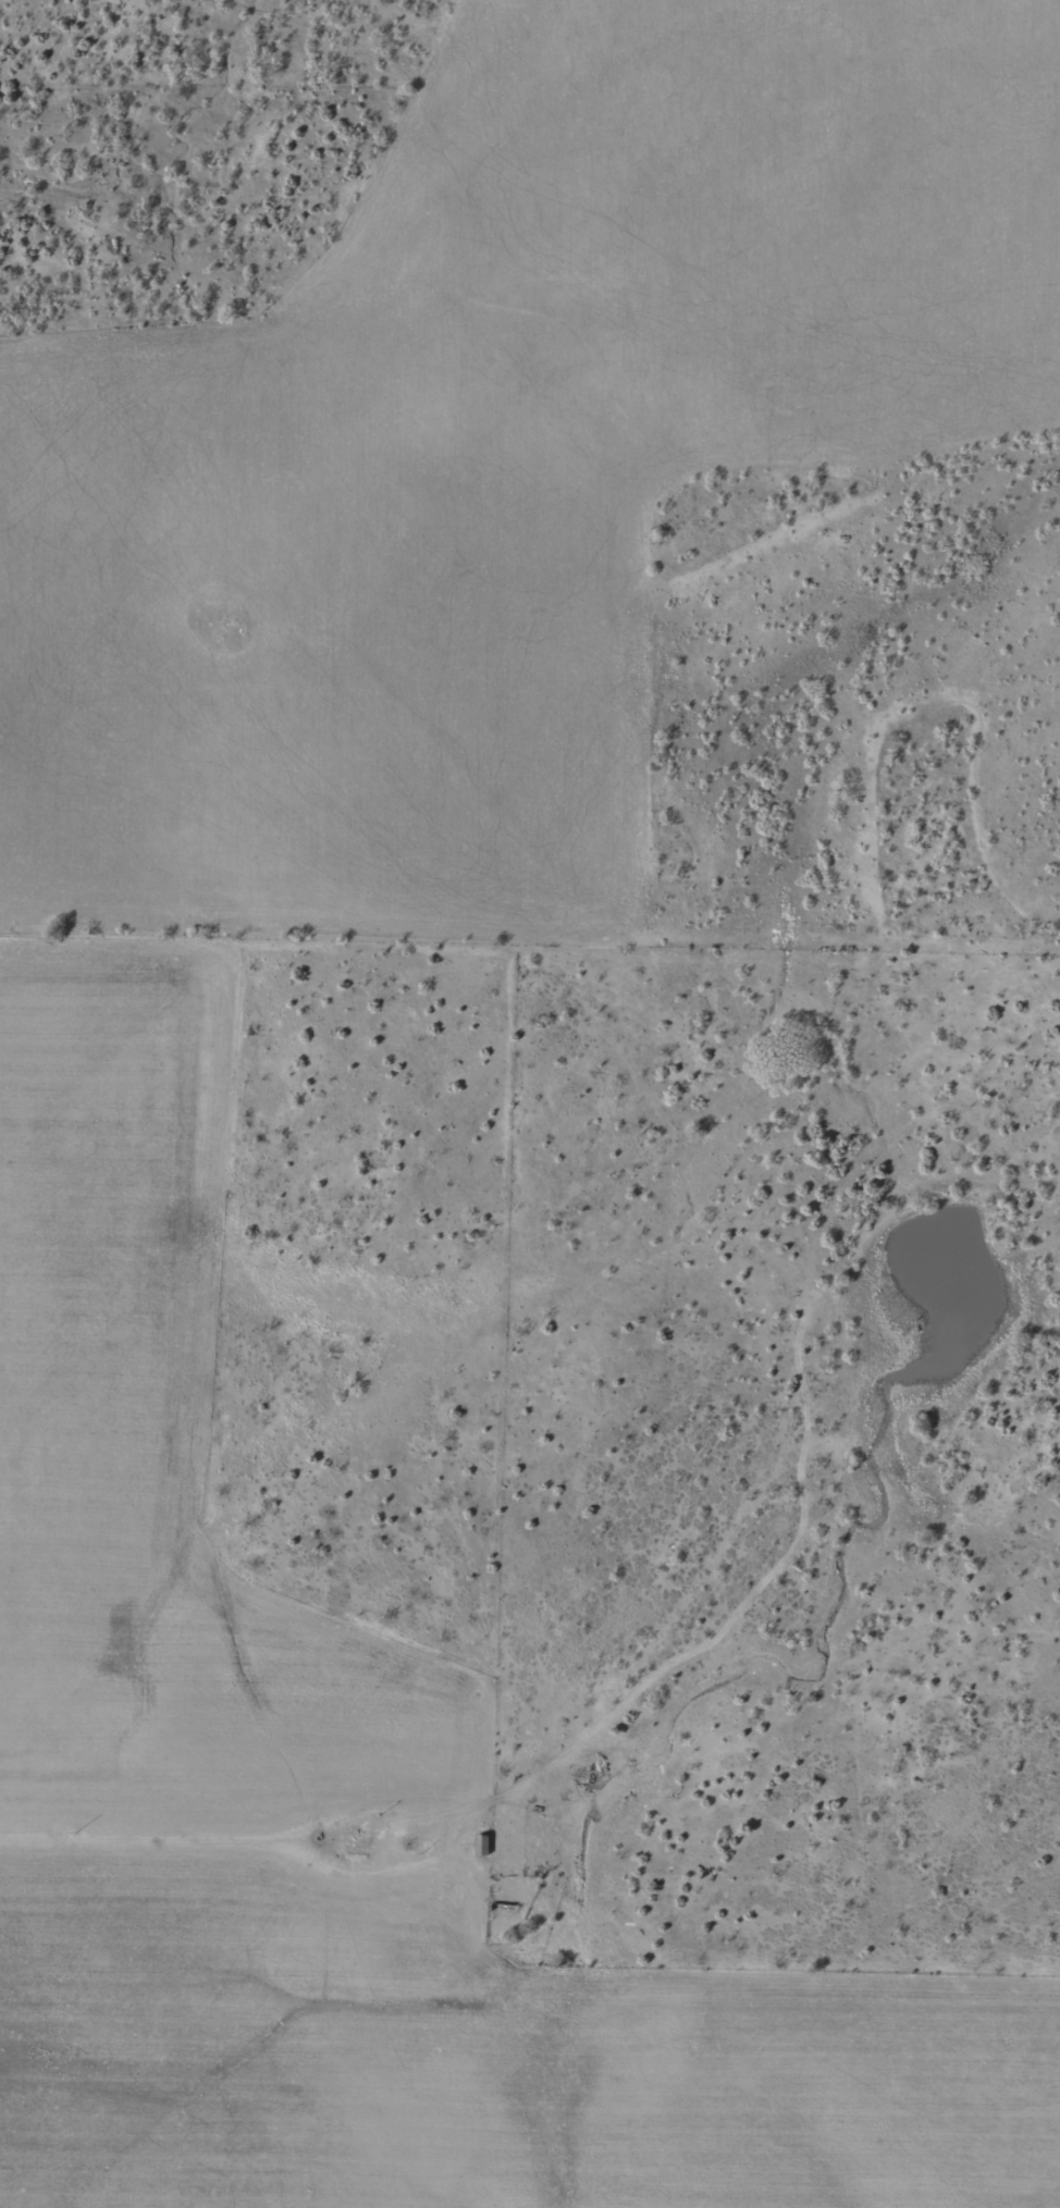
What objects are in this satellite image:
building: (360, 1853)
road: (235, 1866)

